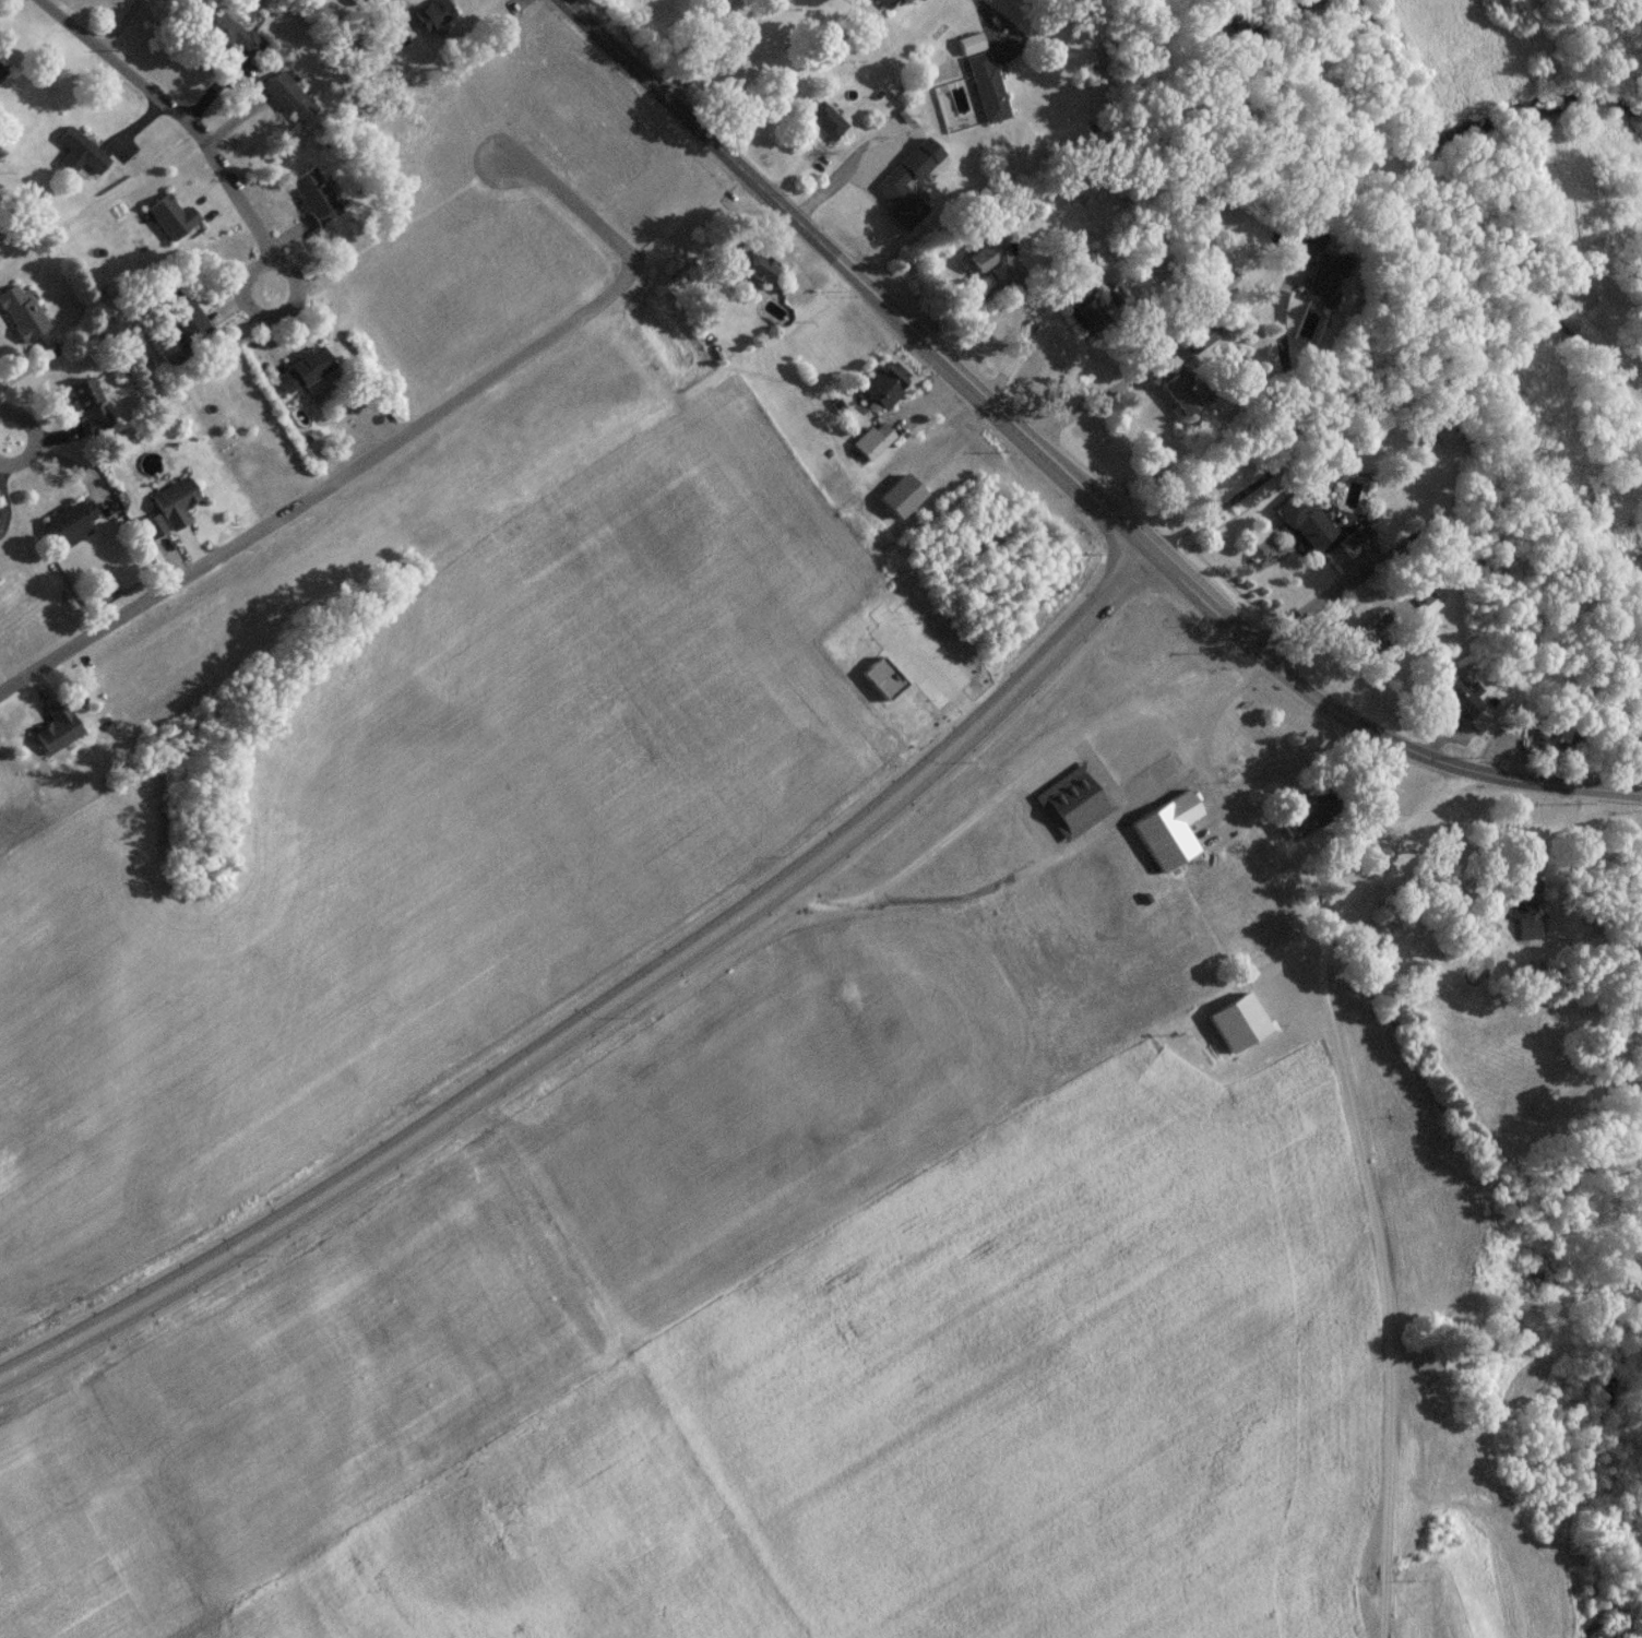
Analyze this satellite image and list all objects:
building: (353, 2)
building: (431, 16)
building: (383, 19)
road: (986, 19)
road: (117, 24)
building: (226, 32)
road: (719, 50)
building: (0, 72)
building: (284, 98)
road: (189, 126)
building: (75, 151)
building: (311, 198)
building: (171, 221)
building: (749, 278)
building: (20, 314)
building: (183, 317)
road: (1170, 363)
building: (305, 376)
building: (1171, 400)
building: (88, 408)
road: (4, 439)
road: (388, 441)
building: (877, 444)
road: (1058, 475)
building: (174, 506)
building: (70, 526)
building: (151, 531)
road: (1306, 609)
building: (57, 734)
building: (1554, 743)
road: (1012, 784)
crop: (451, 836)
building: (1165, 838)
road: (1564, 863)
building: (1525, 919)
road: (600, 1008)
road: (1366, 1185)
crop: (761, 1351)

